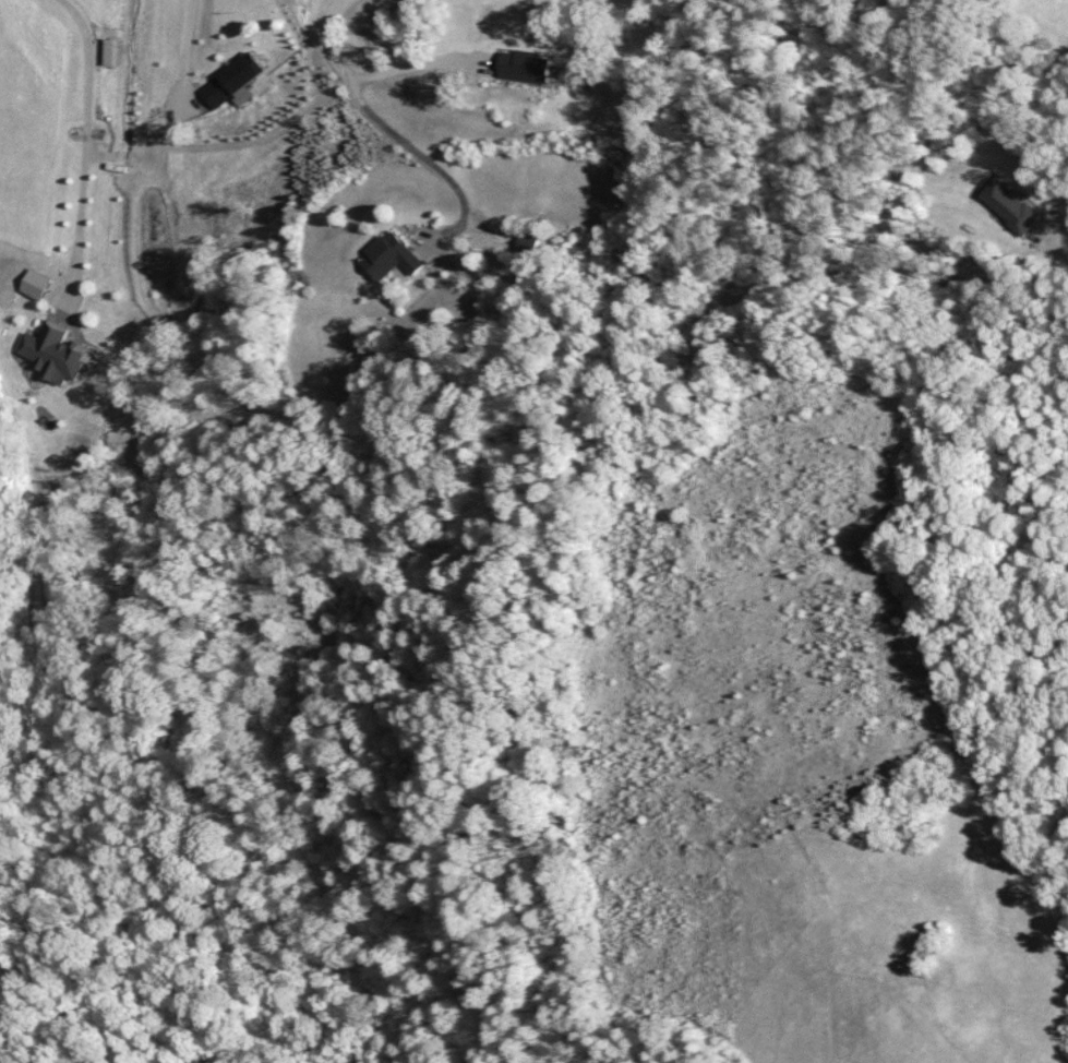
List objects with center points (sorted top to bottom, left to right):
road: (185, 48)
building: (518, 64)
road: (415, 65)
building: (228, 80)
road: (377, 119)
building: (1005, 205)
building: (385, 256)

